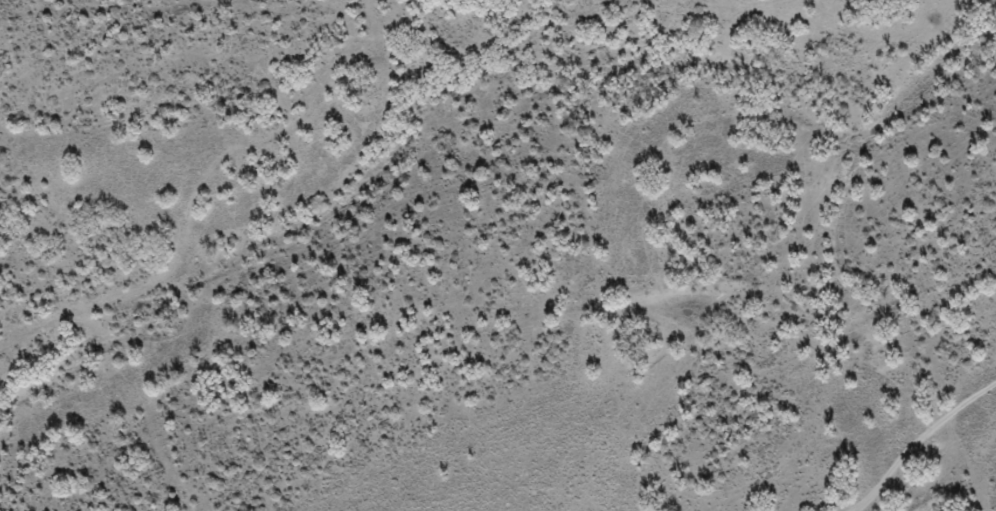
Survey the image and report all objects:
road: (916, 465)

